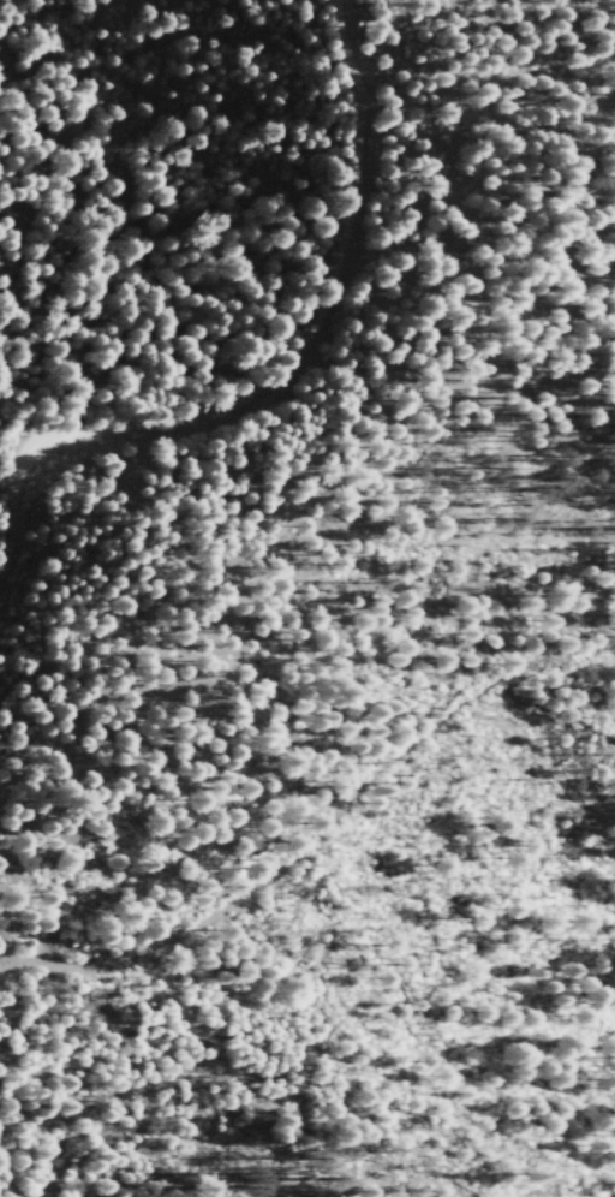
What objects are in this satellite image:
road: (276, 355)

